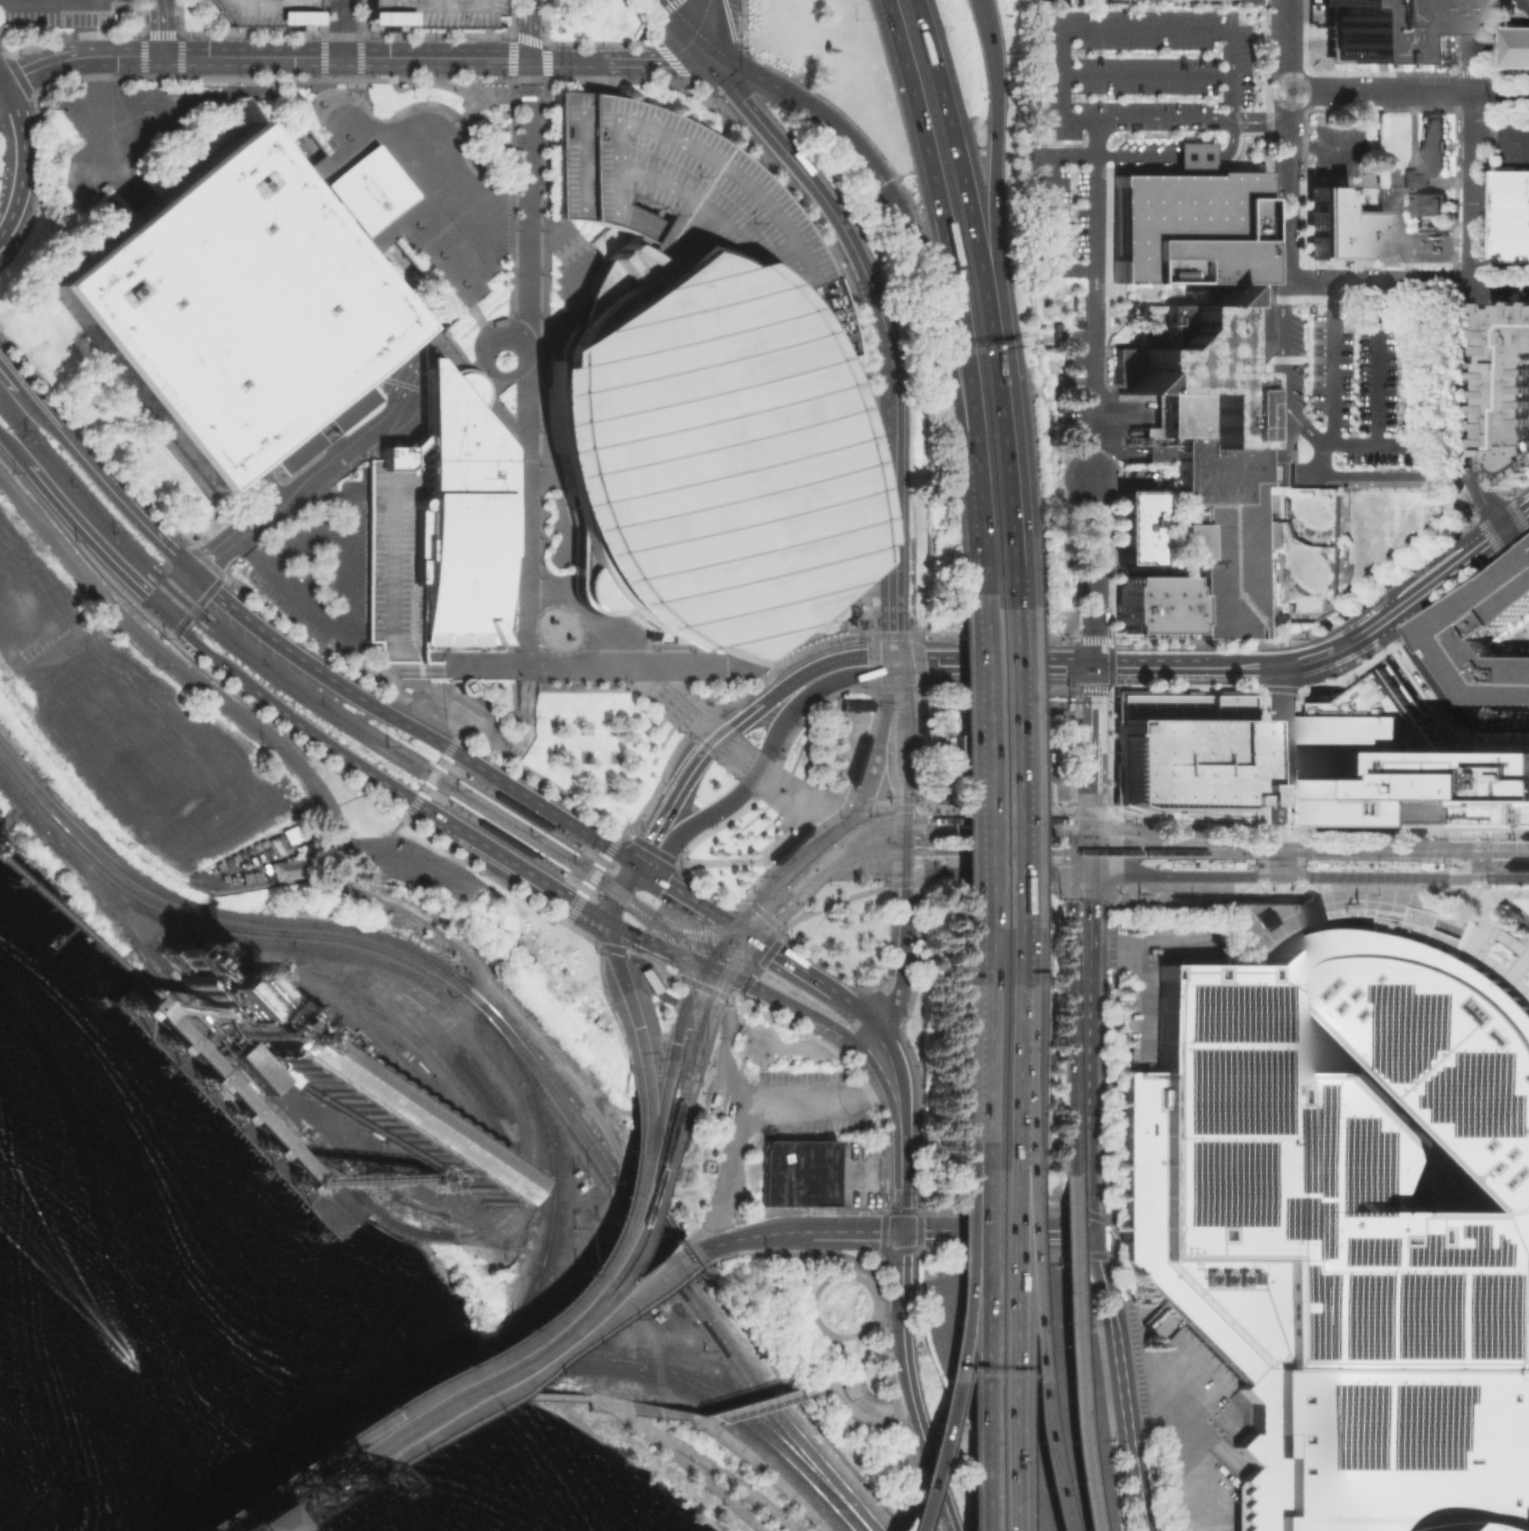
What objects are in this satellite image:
road: (248, 0)
road: (62, 1)
road: (262, 1)
road: (435, 1)
road: (51, 2)
parking lot: (1065, 2)
road: (433, 3)
road: (1525, 3)
parking lot: (1515, 6)
building: (267, 11)
parking lot: (267, 11)
parking lot: (59, 12)
building: (433, 13)
parking lot: (433, 13)
road: (161, 27)
road: (342, 28)
road: (1102, 28)
road: (529, 30)
road: (688, 31)
road: (717, 31)
building: (1388, 32)
building: (1519, 48)
road: (261, 56)
traffic signals: (528, 60)
road: (564, 63)
road: (659, 63)
traffic signals: (717, 63)
road: (360, 67)
road: (511, 67)
road: (323, 69)
road: (1143, 73)
road: (341, 78)
road: (510, 80)
road: (432, 82)
road: (1407, 91)
road: (518, 93)
road: (1229, 96)
parking lot: (1119, 104)
road: (810, 108)
road: (164, 111)
road: (1268, 119)
helipad: (628, 124)
parking lot: (116, 130)
road: (102, 133)
road: (1285, 140)
road: (1474, 140)
road: (1228, 143)
road: (1325, 143)
parking lot: (1510, 144)
building: (1434, 145)
fountain: (291, 149)
parking lot: (1342, 150)
road: (1132, 156)
road: (1191, 157)
road: (10, 158)
road: (960, 167)
road: (994, 167)
road: (803, 172)
building: (1418, 180)
building: (669, 187)
parking lot: (669, 187)
building: (367, 189)
road: (411, 190)
road: (527, 200)
road: (1091, 203)
building: (1433, 204)
road: (1049, 211)
building: (1510, 216)
building: (1186, 222)
building: (1339, 223)
road: (536, 234)
road: (1396, 246)
road: (583, 265)
road: (1406, 265)
road: (1379, 282)
road: (1501, 282)
road: (1399, 296)
road: (956, 300)
building: (226, 310)
stadium: (226, 310)
road: (1351, 310)
road: (939, 322)
road: (1302, 326)
road: (485, 328)
road: (548, 332)
road: (419, 338)
road: (1421, 339)
building: (1197, 361)
road: (1332, 367)
road: (487, 369)
road: (1284, 375)
road: (8, 377)
parking lot: (1074, 380)
road: (397, 382)
parking lot: (1370, 382)
building: (1510, 390)
road: (1473, 410)
railway: (10, 418)
road: (505, 426)
building: (412, 443)
building: (699, 449)
stadium: (699, 449)
road: (11, 452)
road: (1087, 460)
road: (1004, 472)
road: (312, 473)
road: (1386, 474)
road: (896, 476)
road: (100, 485)
road: (1088, 487)
building: (460, 510)
road: (1519, 511)
road: (1515, 515)
building: (1226, 518)
road: (388, 519)
road: (1481, 521)
road: (526, 522)
road: (1517, 522)
building: (1131, 525)
road: (343, 529)
road: (1494, 532)
road: (87, 542)
building: (393, 554)
parking lot: (393, 554)
parking lot: (318, 565)
road: (214, 569)
traffic signals: (193, 575)
road: (343, 580)
road: (202, 582)
road: (1093, 582)
road: (175, 593)
road: (1421, 593)
road: (294, 594)
road: (200, 602)
building: (1150, 603)
traffic signals: (159, 611)
fountain: (558, 628)
road: (302, 638)
building: (1489, 639)
road: (199, 646)
road: (53, 648)
road: (1307, 657)
road: (172, 661)
traffic signals: (896, 663)
road: (1048, 663)
road: (856, 664)
traffic signals: (1094, 664)
road: (608, 665)
road: (1240, 666)
road: (367, 667)
road: (326, 675)
railway: (289, 677)
road: (636, 678)
road: (388, 679)
road: (428, 685)
road: (438, 686)
building: (463, 686)
road: (786, 686)
road: (876, 687)
railway: (287, 688)
road: (845, 690)
road: (683, 693)
road: (1445, 694)
building: (854, 703)
road: (723, 704)
road: (422, 711)
road: (424, 711)
road: (696, 725)
road: (1094, 736)
road: (325, 743)
road: (919, 747)
road: (735, 753)
building: (991, 754)
building: (1186, 754)
railway: (1024, 755)
building: (856, 757)
building: (1404, 765)
road: (889, 766)
road: (977, 767)
railway: (1025, 767)
road: (1014, 768)
road: (1281, 769)
road: (430, 776)
road: (686, 778)
road: (868, 779)
road: (540, 781)
road: (906, 783)
road: (745, 786)
road: (845, 787)
building: (935, 787)
road: (759, 792)
railway: (447, 794)
road: (795, 800)
road: (345, 802)
railway: (1057, 803)
road: (543, 807)
road: (992, 807)
road: (1087, 807)
road: (522, 811)
road: (918, 814)
road: (437, 816)
railway: (965, 821)
road: (1183, 826)
railway: (967, 832)
road: (1279, 832)
road: (1373, 833)
railway: (1489, 833)
railway: (1058, 834)
road: (1461, 834)
road: (1502, 834)
road: (385, 835)
railway: (1150, 835)
building: (280, 839)
road: (504, 839)
building: (789, 840)
road: (1092, 840)
road: (991, 841)
railway: (582, 842)
railway: (65, 845)
road: (1065, 845)
railway: (1203, 845)
railway: (1346, 845)
road: (609, 849)
railway: (1054, 852)
road: (1261, 852)
railway: (923, 853)
road: (1300, 854)
road: (272, 855)
road: (1476, 858)
road: (404, 859)
road: (990, 860)
parking lot: (265, 861)
road: (722, 862)
road: (1087, 862)
railway: (1489, 863)
road: (1502, 865)
building: (283, 867)
traffic signals: (638, 867)
parking lot: (411, 868)
road: (876, 869)
traffic signals: (895, 869)
traffic signals: (906, 869)
road: (477, 870)
road: (999, 870)
traffic signals: (1082, 872)
road: (1110, 872)
traffic signals: (1093, 873)
road: (1186, 874)
traffic signals: (1281, 875)
road: (1405, 875)
traffic signals: (1464, 876)
road: (535, 877)
road: (755, 879)
road: (991, 880)
road: (708, 887)
road: (677, 890)
road: (621, 893)
building: (1233, 895)
road: (762, 896)
road: (832, 902)
building: (1311, 910)
road: (726, 920)
traffic signals: (612, 924)
railway: (710, 926)
traffic signals: (736, 927)
road: (1496, 929)
road: (636, 936)
railway: (712, 938)
road: (773, 942)
road: (720, 946)
road: (609, 947)
railway: (388, 951)
road: (644, 956)
road: (615, 957)
road: (683, 957)
railway: (730, 958)
road: (784, 959)
road: (889, 959)
railway: (646, 964)
traffic signals: (706, 967)
road: (902, 969)
railway: (696, 971)
road: (599, 972)
railway: (686, 976)
road: (672, 977)
road: (701, 987)
road: (755, 988)
railway: (391, 991)
road: (734, 994)
building: (223, 996)
road: (669, 999)
road: (685, 999)
railway: (360, 1002)
road: (848, 1003)
road: (471, 1005)
solar farm: (1225, 1012)
road: (1013, 1017)
road: (869, 1020)
road: (1068, 1020)
railway: (416, 1021)
road: (825, 1024)
solar farm: (1422, 1028)
railway: (514, 1034)
road: (864, 1034)
road: (849, 1040)
railway: (383, 1042)
road: (804, 1048)
road: (979, 1048)
road: (884, 1050)
road: (1089, 1052)
road: (871, 1059)
road: (646, 1065)
building: (254, 1067)
road: (852, 1070)
railway: (683, 1083)
building: (210, 1084)
railway: (693, 1085)
solar farm: (1224, 1089)
road: (665, 1090)
solar farm: (1489, 1092)
road: (746, 1093)
parking lot: (815, 1106)
building: (389, 1112)
road: (1019, 1137)
road: (1010, 1138)
traffic signals: (648, 1144)
solar farm: (1319, 1146)
road: (901, 1153)
road: (632, 1167)
solar farm: (1384, 1167)
building: (797, 1173)
road: (981, 1180)
solar farm: (1214, 1182)
railway: (400, 1193)
road: (509, 1194)
solar farm: (1311, 1224)
building: (1346, 1224)
railway: (472, 1230)
road: (854, 1231)
traffic signals: (901, 1231)
road: (996, 1231)
road: (752, 1236)
road: (891, 1242)
solar farm: (1479, 1249)
solar farm: (1388, 1250)
road: (604, 1252)
road: (881, 1252)
road: (765, 1253)
road: (849, 1258)
road: (670, 1265)
road: (981, 1266)
railway: (674, 1277)
road: (794, 1278)
road: (865, 1280)
road: (567, 1285)
road: (964, 1285)
road: (633, 1289)
solar farm: (1322, 1314)
solar farm: (1447, 1314)
solar farm: (1507, 1314)
solar farm: (1387, 1315)
road: (813, 1316)
railway: (550, 1328)
road: (577, 1329)
railway: (558, 1333)
road: (1115, 1334)
road: (1007, 1350)
road: (1034, 1350)
park: (825, 1351)
road: (1069, 1351)
road: (840, 1354)
road: (885, 1364)
railway: (467, 1372)
river: (131, 1375)
railway: (473, 1377)
road: (522, 1380)
road: (854, 1381)
road: (908, 1383)
railway: (725, 1396)
road: (421, 1401)
road: (761, 1401)
railway: (713, 1404)
road: (624, 1407)
road: (853, 1412)
road: (628, 1415)
road: (690, 1419)
railway: (431, 1423)
solar farm: (1450, 1423)
solar farm: (1360, 1425)
road: (459, 1430)
road: (437, 1431)
road: (979, 1436)
railway: (370, 1441)
traffic signals: (350, 1448)
road: (930, 1456)
park: (685, 1459)
road: (705, 1460)
road: (757, 1470)
road: (909, 1474)
road: (732, 1482)
road: (1137, 1485)
road: (712, 1487)
road: (260, 1494)
road: (271, 1499)
railway: (278, 1501)
railway: (284, 1504)
railway: (296, 1508)
railway: (299, 1509)
road: (312, 1513)
road: (320, 1516)
road: (320, 1516)
building: (262, 1520)
road: (816, 1526)

